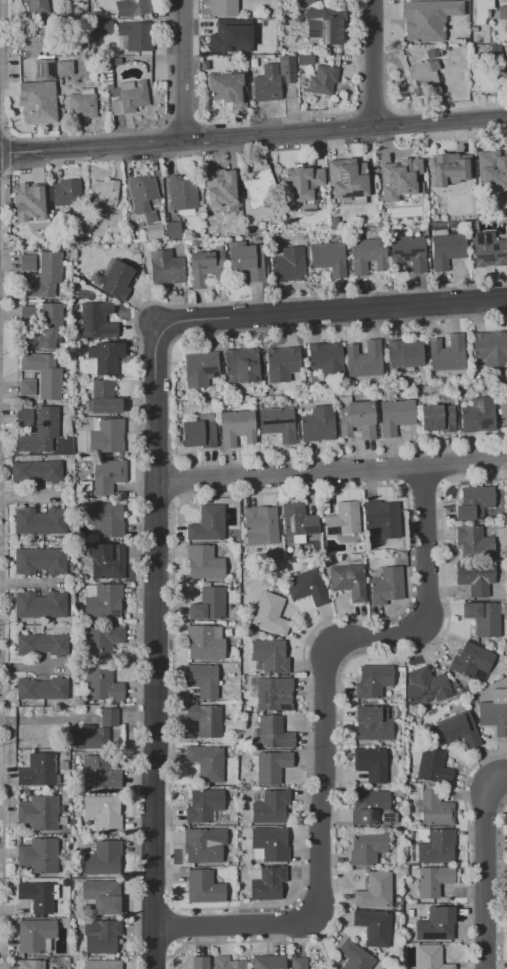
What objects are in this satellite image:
building: (307, 2)
building: (133, 7)
building: (35, 8)
building: (224, 8)
building: (271, 13)
building: (503, 14)
building: (426, 19)
building: (94, 24)
building: (325, 27)
building: (136, 35)
building: (226, 38)
building: (481, 38)
building: (34, 39)
building: (266, 50)
building: (495, 51)
building: (432, 53)
building: (305, 59)
road: (376, 65)
building: (506, 65)
building: (64, 68)
building: (287, 69)
building: (45, 70)
road: (182, 71)
building: (420, 76)
building: (322, 80)
building: (266, 84)
building: (227, 89)
building: (124, 91)
building: (37, 103)
building: (82, 104)
road: (345, 132)
road: (91, 149)
building: (497, 164)
building: (447, 170)
building: (400, 175)
building: (348, 179)
building: (67, 186)
building: (219, 187)
building: (301, 187)
building: (260, 188)
building: (104, 191)
building: (182, 192)
building: (29, 194)
building: (142, 196)
building: (154, 230)
building: (173, 230)
building: (446, 249)
building: (488, 250)
building: (409, 252)
building: (369, 255)
building: (329, 258)
building: (247, 261)
building: (27, 263)
building: (289, 264)
building: (166, 267)
building: (207, 270)
building: (43, 276)
building: (118, 280)
road: (332, 309)
building: (96, 320)
building: (40, 326)
building: (489, 348)
building: (447, 353)
building: (404, 354)
building: (105, 357)
building: (326, 359)
building: (364, 359)
building: (282, 363)
building: (242, 364)
building: (203, 367)
building: (43, 374)
building: (27, 387)
building: (102, 389)
building: (106, 405)
building: (502, 405)
building: (25, 415)
building: (395, 415)
building: (478, 415)
building: (437, 417)
building: (356, 419)
building: (278, 424)
building: (318, 424)
building: (236, 427)
building: (199, 431)
building: (38, 432)
building: (106, 435)
building: (36, 472)
road: (330, 474)
building: (107, 475)
road: (28, 497)
building: (473, 503)
building: (383, 518)
building: (106, 519)
building: (343, 519)
building: (298, 520)
building: (40, 521)
building: (207, 524)
building: (260, 525)
building: (473, 543)
building: (105, 559)
building: (40, 561)
building: (204, 563)
building: (475, 577)
building: (349, 581)
road: (30, 583)
building: (306, 586)
building: (386, 586)
building: (102, 601)
building: (39, 604)
building: (208, 604)
building: (270, 613)
building: (483, 618)
building: (102, 641)
building: (205, 642)
building: (42, 644)
road: (153, 644)
building: (269, 655)
building: (471, 662)
building: (202, 680)
building: (372, 681)
building: (102, 684)
building: (425, 686)
building: (42, 688)
building: (272, 692)
building: (494, 712)
building: (205, 719)
building: (372, 724)
building: (459, 729)
building: (94, 733)
building: (273, 733)
road: (327, 737)
building: (117, 740)
building: (206, 762)
building: (370, 764)
building: (432, 766)
building: (271, 767)
building: (38, 770)
building: (99, 773)
building: (63, 800)
building: (204, 806)
building: (270, 807)
building: (371, 809)
building: (435, 809)
building: (103, 812)
building: (38, 813)
building: (270, 843)
building: (203, 845)
building: (435, 845)
building: (367, 847)
building: (39, 855)
building: (103, 858)
road: (484, 867)
building: (433, 881)
building: (268, 883)
building: (204, 887)
building: (375, 890)
building: (37, 896)
building: (102, 896)
building: (436, 924)
building: (373, 927)
building: (36, 935)
building: (101, 935)
building: (354, 956)
building: (430, 957)
building: (200, 962)
building: (268, 962)
building: (227, 963)
building: (298, 963)
building: (31, 964)
building: (102, 964)

